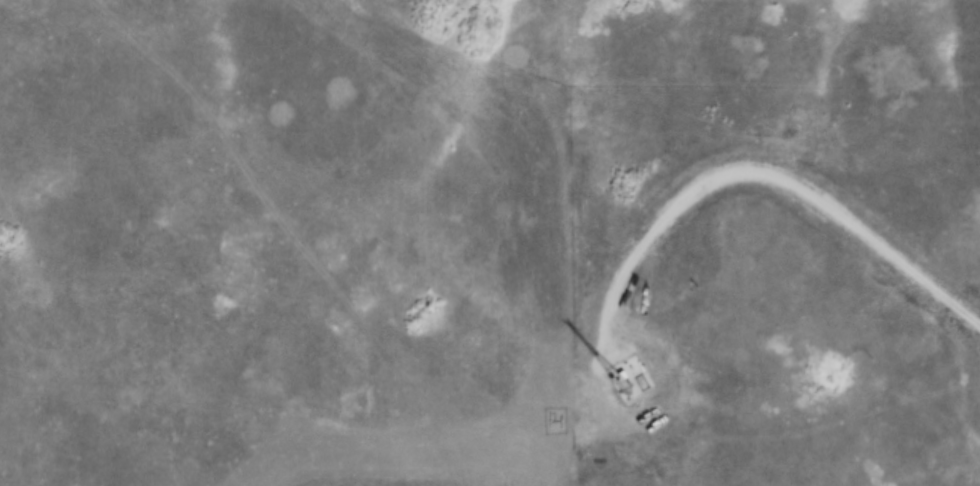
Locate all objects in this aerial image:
road: (294, 224)

